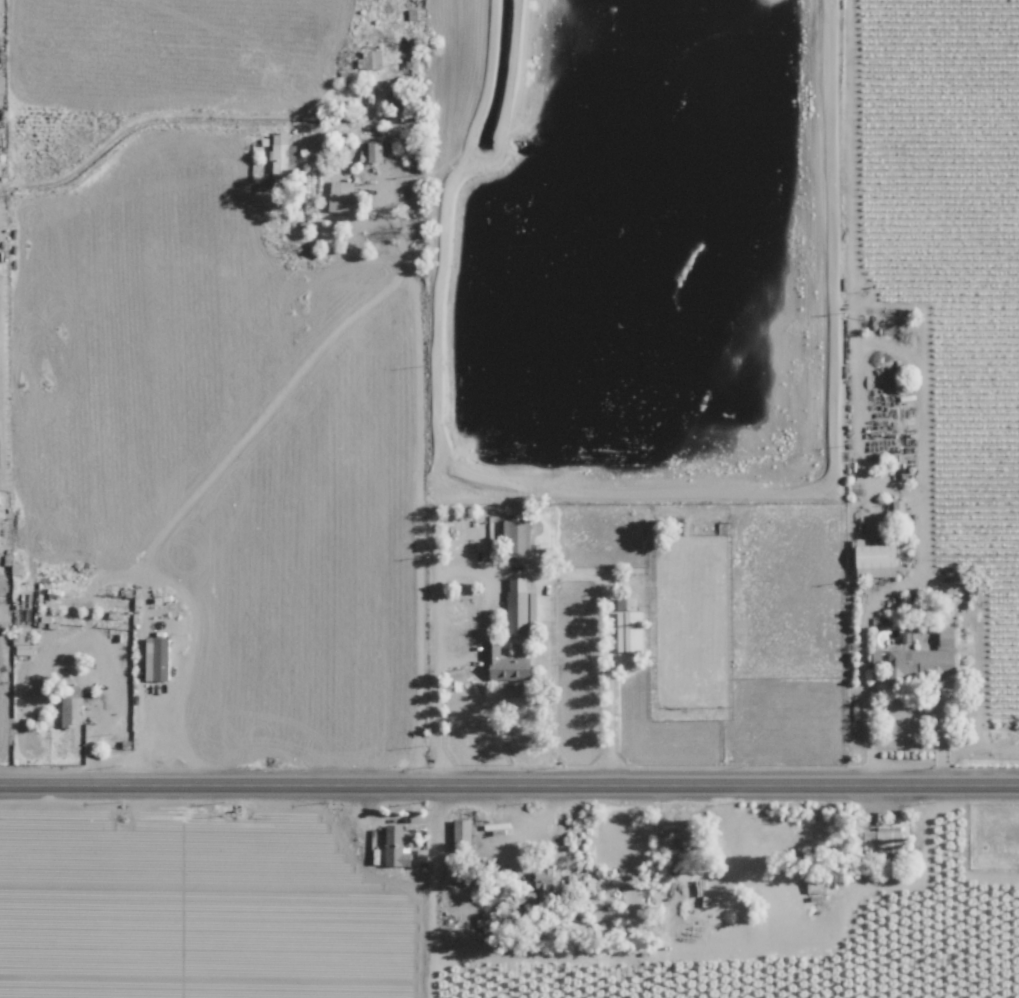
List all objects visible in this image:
building: (369, 59)
building: (1, 84)
building: (372, 152)
building: (279, 153)
building: (342, 197)
crop: (263, 321)
road: (920, 454)
road: (417, 477)
building: (517, 538)
building: (876, 561)
building: (517, 607)
building: (629, 626)
road: (144, 627)
building: (21, 641)
road: (439, 650)
building: (159, 657)
building: (918, 660)
building: (506, 664)
road: (115, 688)
building: (71, 707)
road: (89, 711)
road: (509, 779)
building: (461, 834)
road: (521, 836)
building: (883, 837)
building: (395, 846)
building: (539, 887)
crop: (577, 902)
crop: (867, 908)
road: (661, 946)

